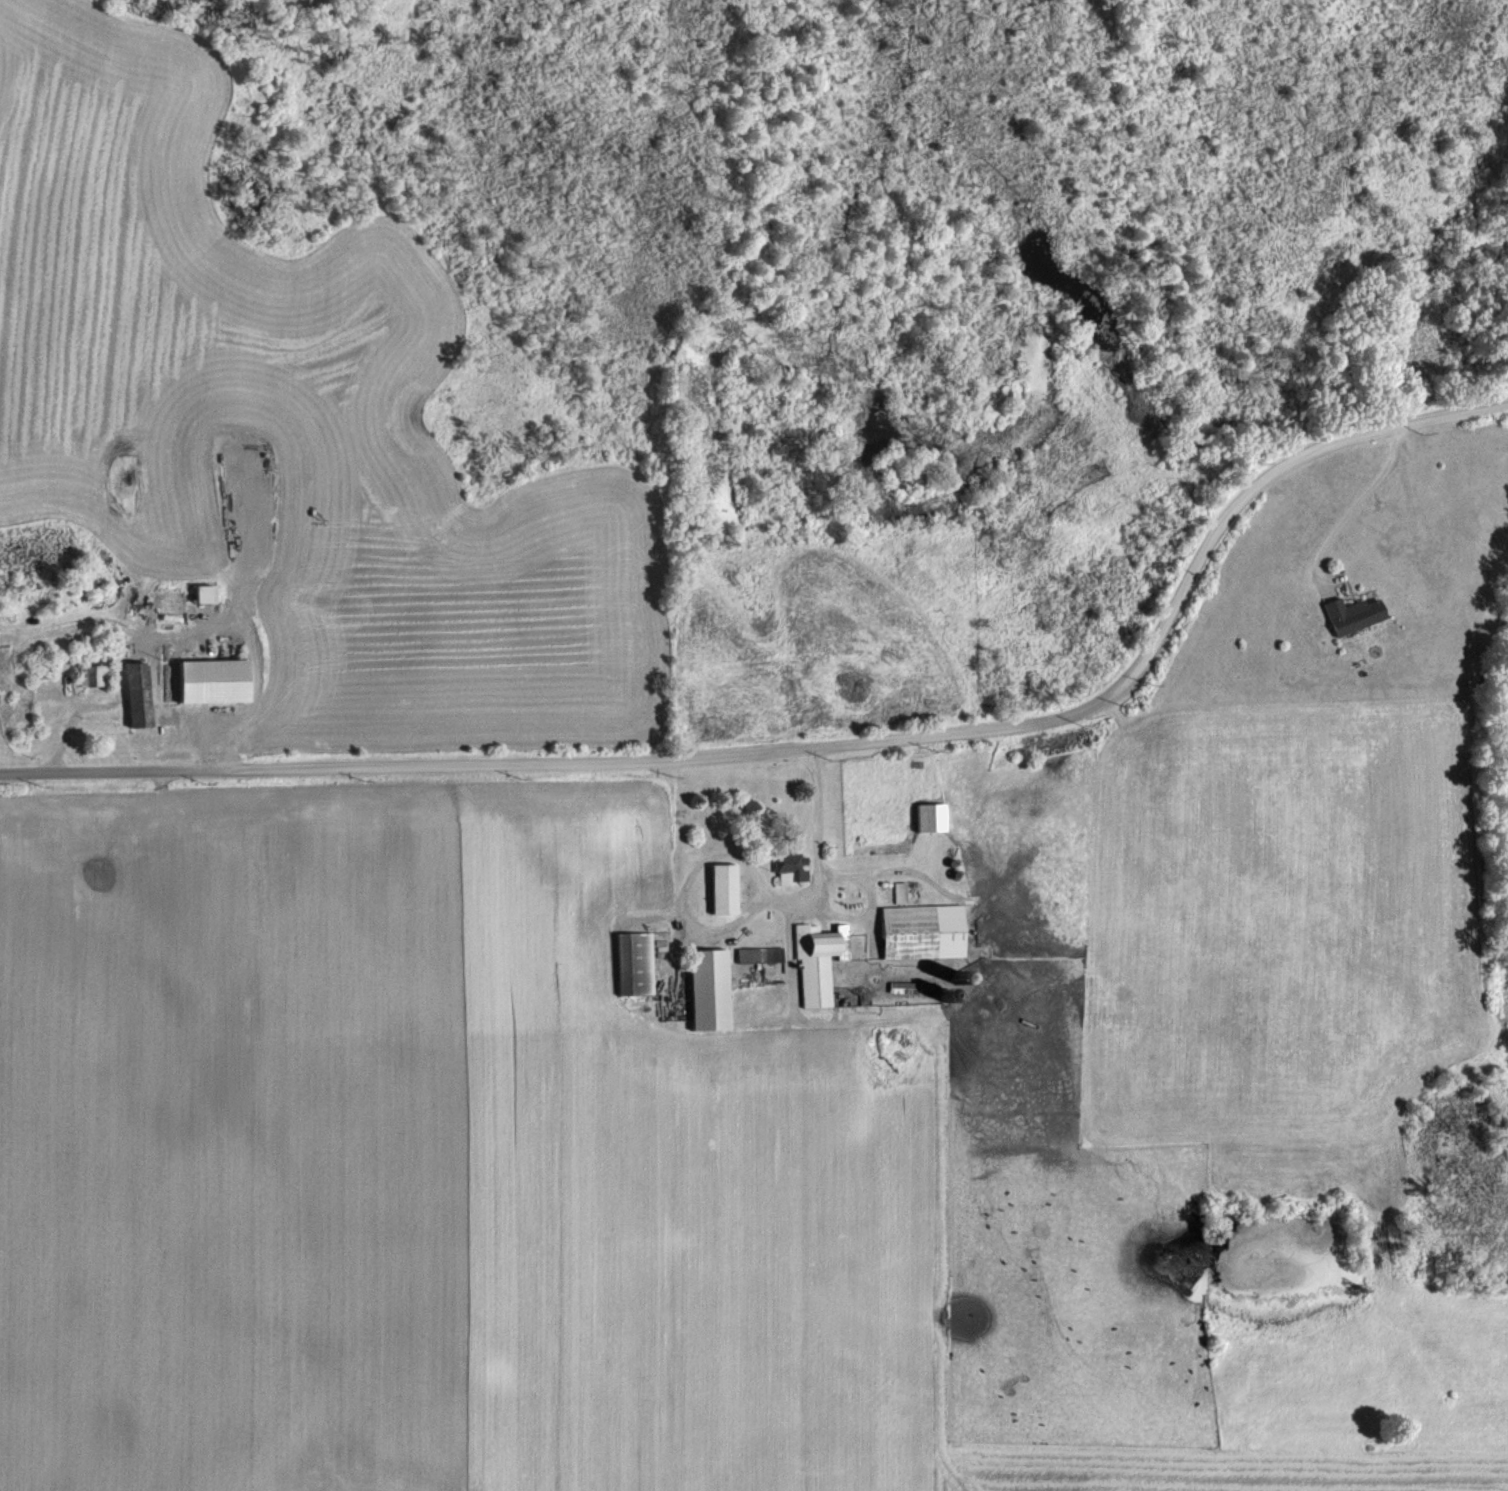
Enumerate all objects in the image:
road: (1354, 507)
building: (1355, 613)
building: (96, 674)
building: (217, 680)
building: (141, 694)
road: (821, 749)
building: (933, 817)
road: (817, 830)
building: (792, 868)
building: (726, 888)
building: (924, 931)
building: (761, 954)
building: (820, 961)
building: (638, 963)
building: (908, 987)
building: (713, 989)

